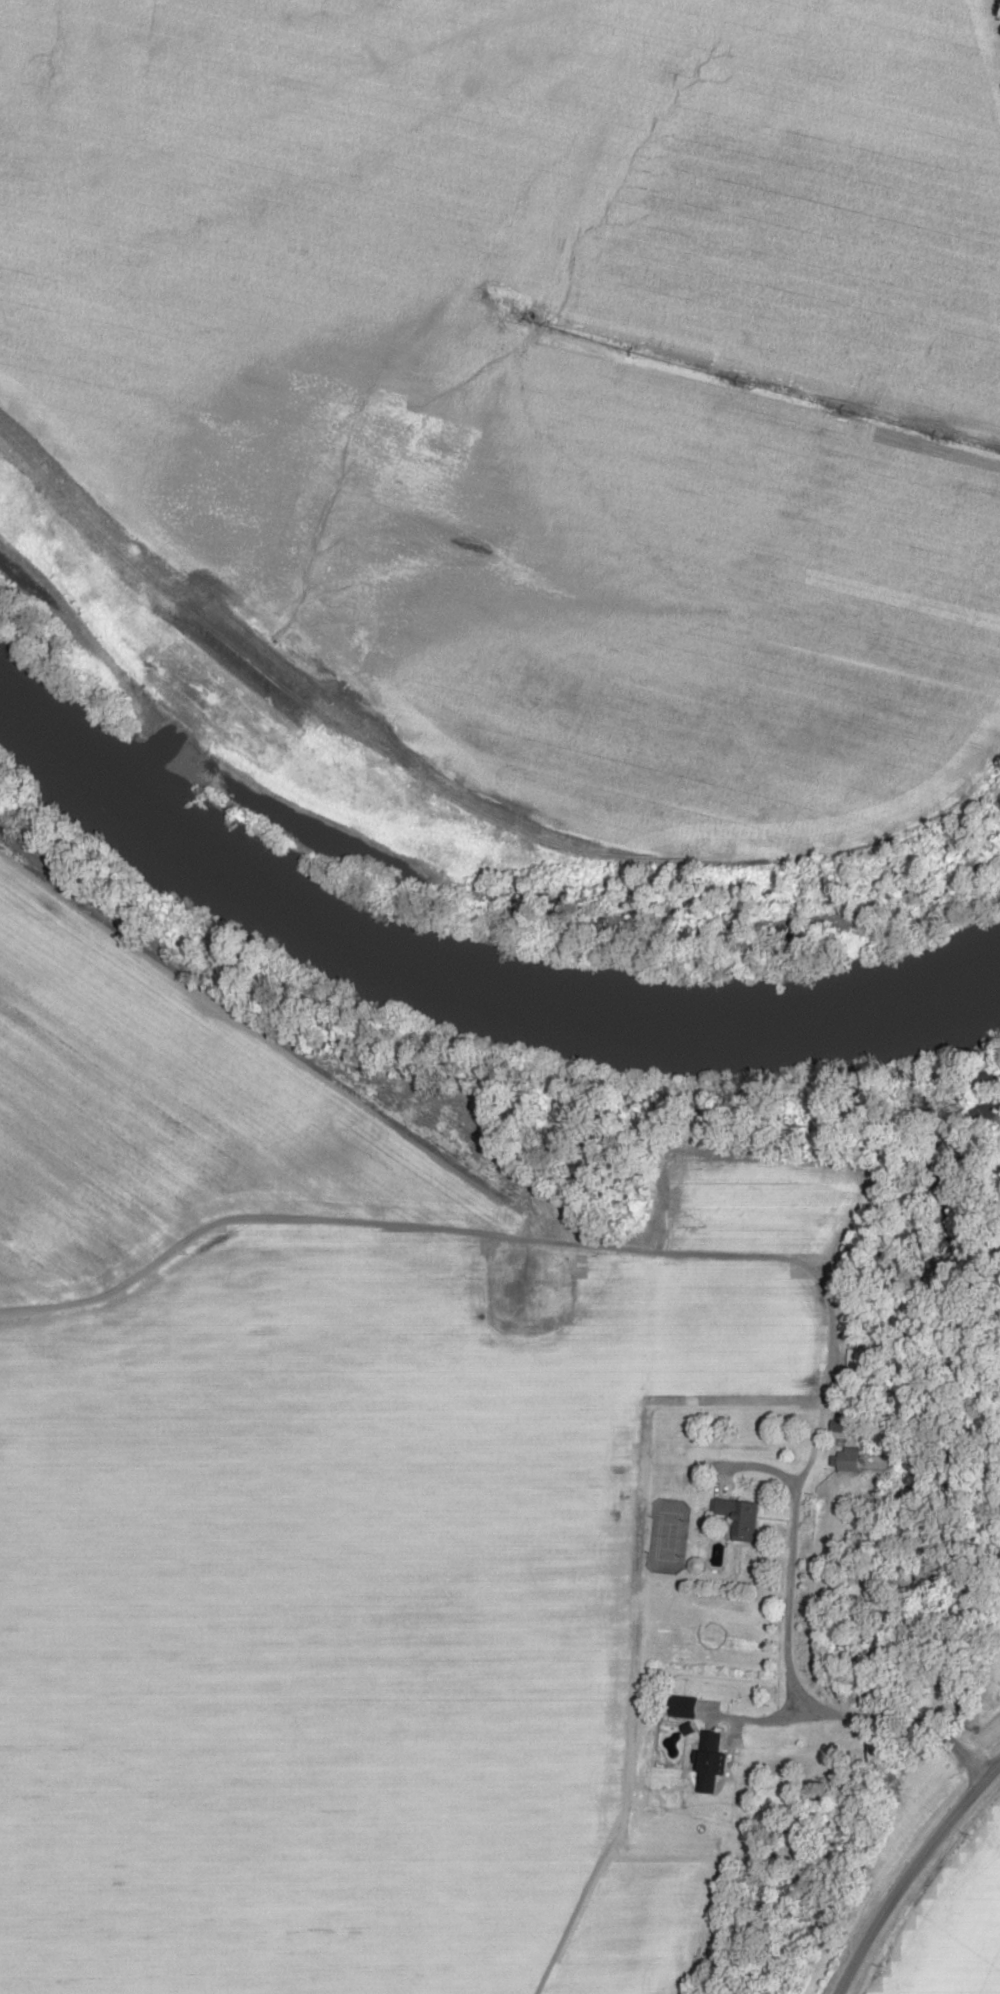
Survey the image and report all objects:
road: (248, 105)
river: (459, 993)
road: (715, 1257)
building: (844, 1460)
building: (736, 1517)
road: (632, 1631)
building: (679, 1705)
road: (721, 1727)
building: (706, 1759)
road: (895, 1853)

